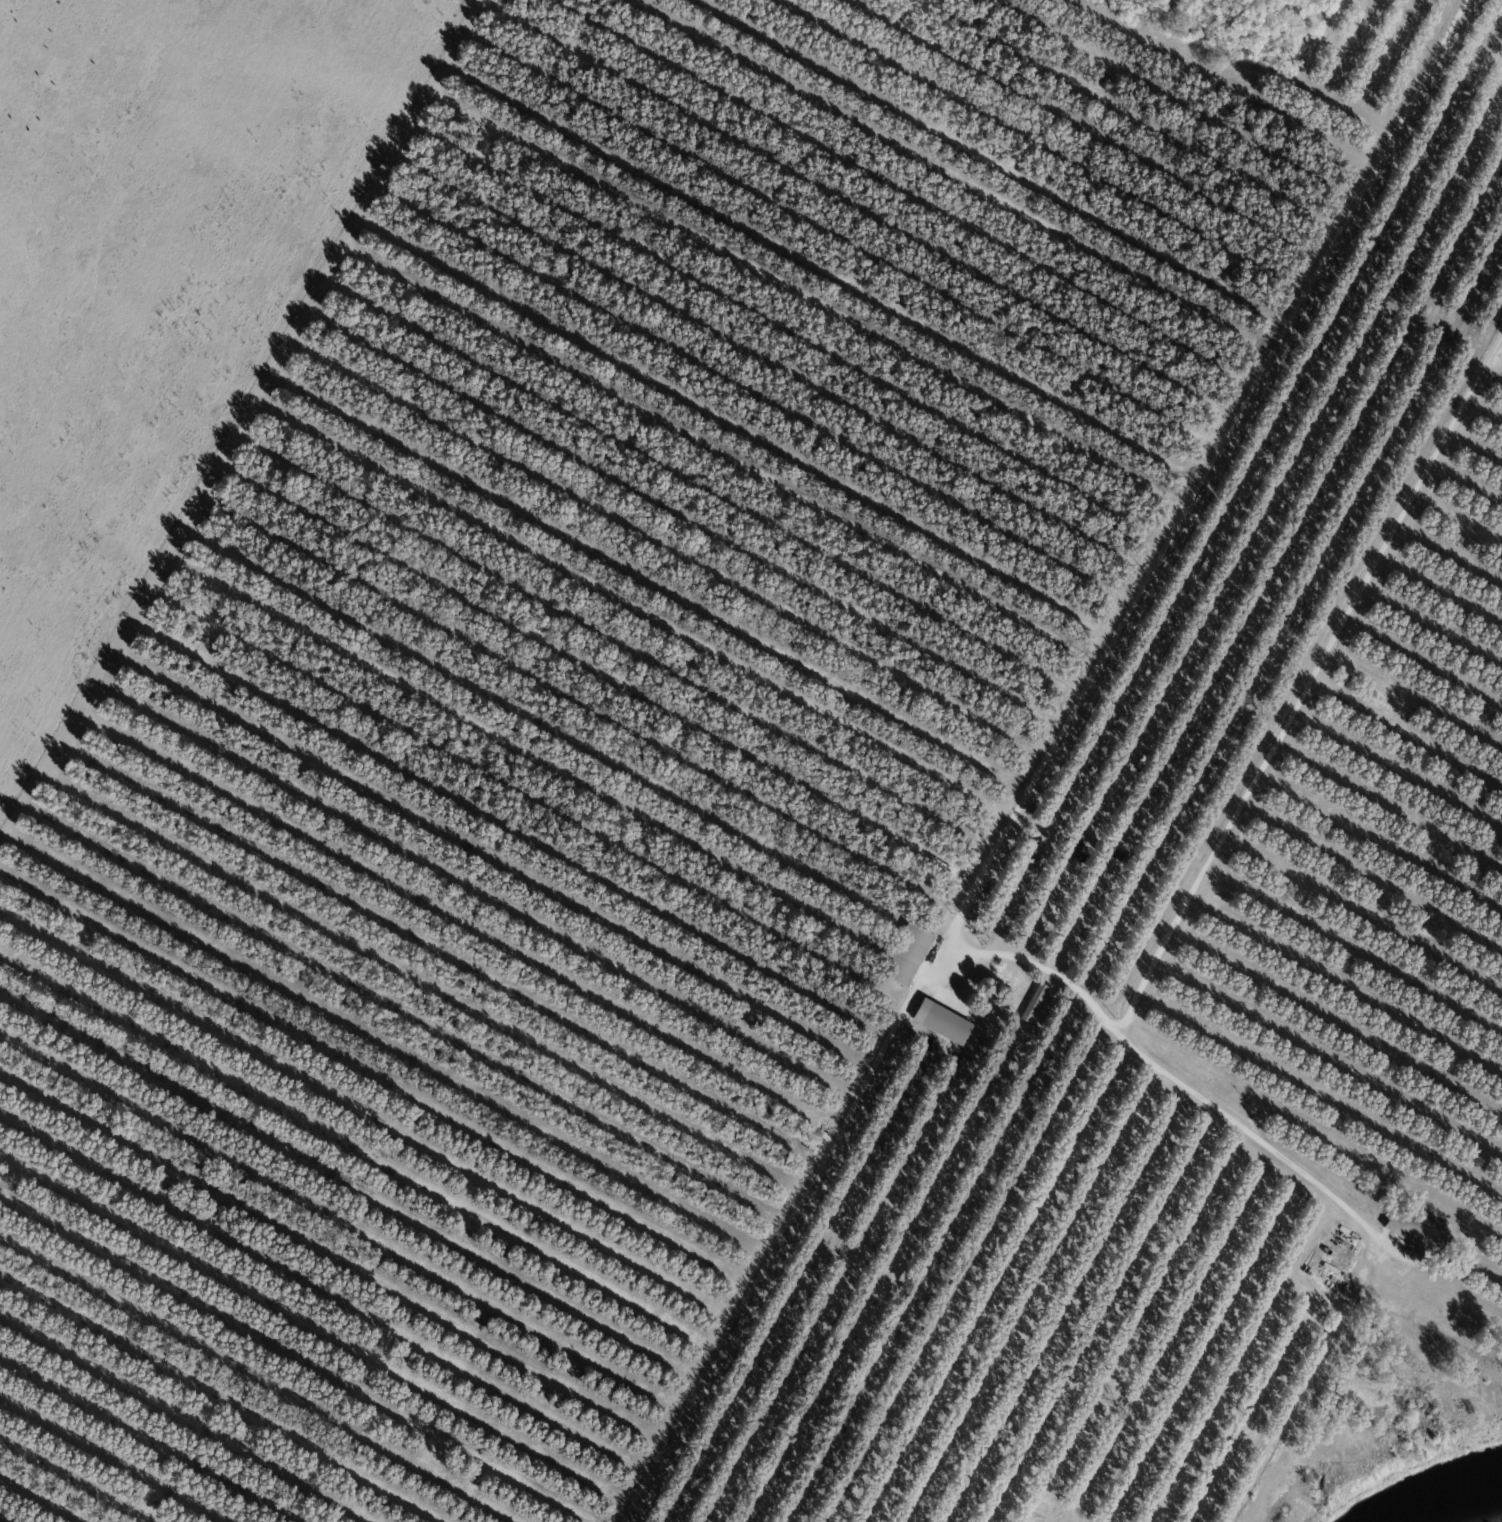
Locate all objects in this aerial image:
crop: (157, 278)
road: (1307, 685)
road: (1069, 710)
building: (908, 956)
building: (1035, 1005)
building: (943, 1023)
building: (1416, 1231)
river: (1473, 1509)

